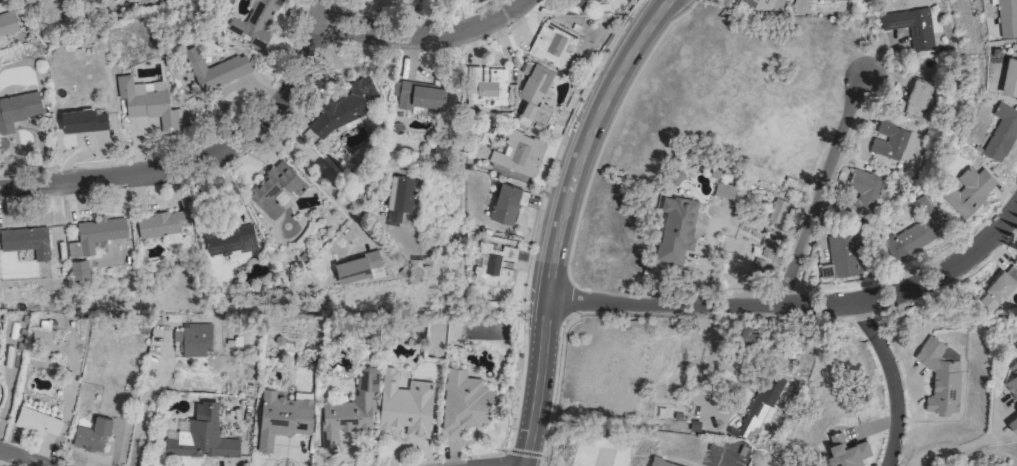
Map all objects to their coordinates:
building: (842, 0)
building: (33, 1)
building: (1007, 17)
building: (8, 22)
building: (254, 23)
building: (912, 27)
road: (429, 40)
building: (554, 43)
building: (215, 69)
building: (1010, 75)
building: (491, 86)
road: (297, 87)
building: (534, 92)
building: (420, 96)
building: (918, 98)
building: (148, 102)
building: (345, 106)
building: (18, 109)
building: (84, 120)
building: (1002, 132)
building: (894, 141)
building: (520, 153)
road: (118, 179)
road: (314, 179)
building: (275, 188)
building: (864, 189)
building: (724, 190)
building: (967, 190)
road: (820, 191)
building: (400, 195)
building: (507, 203)
building: (777, 211)
road: (567, 220)
building: (162, 223)
building: (676, 227)
building: (914, 230)
building: (99, 232)
building: (26, 239)
building: (230, 239)
building: (843, 256)
building: (358, 266)
building: (499, 266)
building: (79, 268)
building: (997, 291)
road: (799, 305)
building: (193, 339)
building: (941, 376)
road: (895, 381)
building: (1012, 381)
building: (464, 401)
building: (405, 404)
road: (143, 406)
building: (758, 408)
building: (350, 409)
building: (282, 417)
building: (37, 421)
building: (1013, 424)
building: (92, 434)
building: (201, 435)
road: (956, 449)
building: (846, 451)
road: (19, 459)
building: (662, 462)
road: (725, 465)

